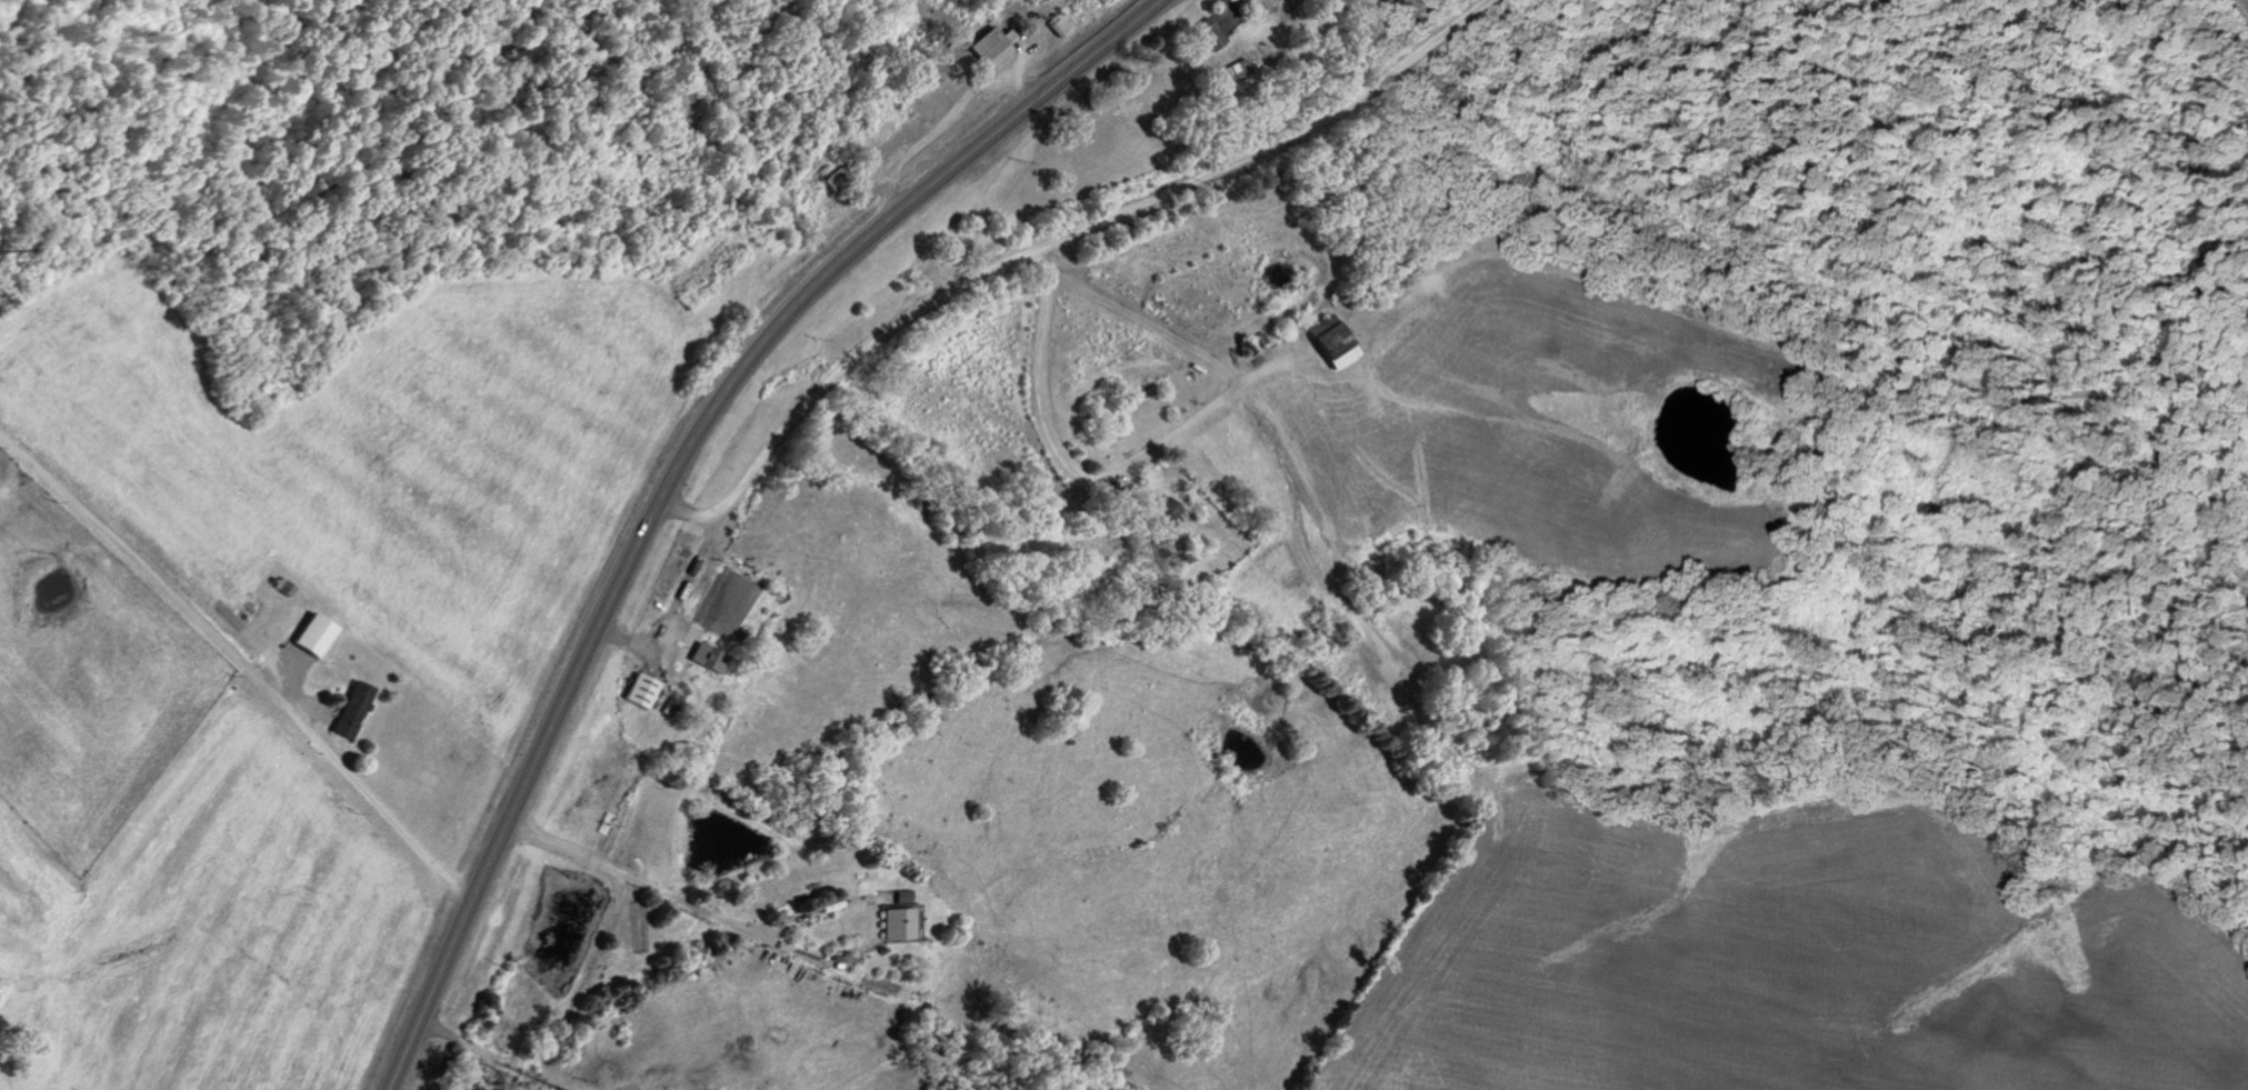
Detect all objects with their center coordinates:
building: (1256, 4)
building: (1059, 24)
building: (1209, 34)
building: (991, 47)
building: (1336, 342)
road: (878, 390)
road: (1056, 460)
road: (676, 471)
building: (1167, 511)
building: (313, 636)
building: (706, 658)
road: (242, 663)
building: (641, 691)
building: (352, 711)
building: (893, 918)

